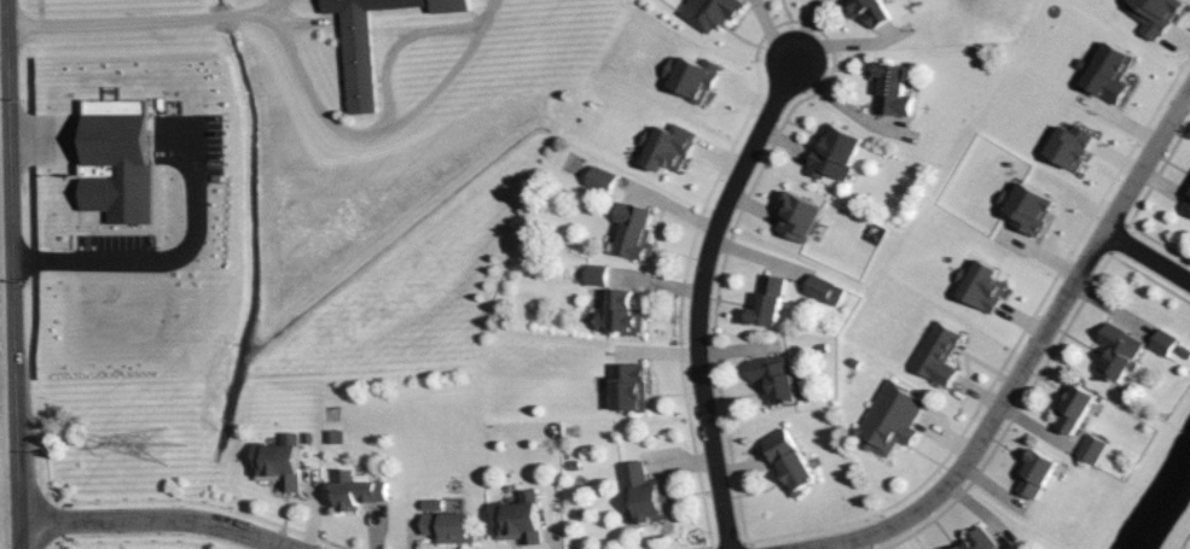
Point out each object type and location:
building: (866, 11)
road: (256, 12)
building: (709, 12)
road: (224, 14)
building: (1151, 14)
road: (109, 19)
building: (362, 65)
building: (1107, 70)
building: (690, 76)
building: (889, 88)
road: (371, 130)
building: (1067, 145)
parking lot: (190, 146)
building: (666, 147)
building: (834, 152)
building: (117, 158)
road: (298, 163)
building: (1186, 202)
building: (1024, 208)
building: (796, 216)
building: (632, 232)
road: (1144, 257)
road: (137, 261)
road: (13, 274)
building: (596, 275)
building: (979, 285)
building: (823, 291)
road: (698, 298)
building: (766, 302)
building: (620, 313)
building: (1161, 341)
road: (1027, 350)
building: (1115, 351)
building: (934, 352)
building: (772, 379)
building: (627, 386)
building: (1072, 405)
building: (888, 417)
building: (1090, 448)
power tower: (167, 449)
building: (278, 461)
building: (788, 461)
building: (1032, 472)
building: (355, 490)
building: (643, 495)
building: (516, 518)
road: (155, 520)
building: (448, 527)
building: (975, 539)

